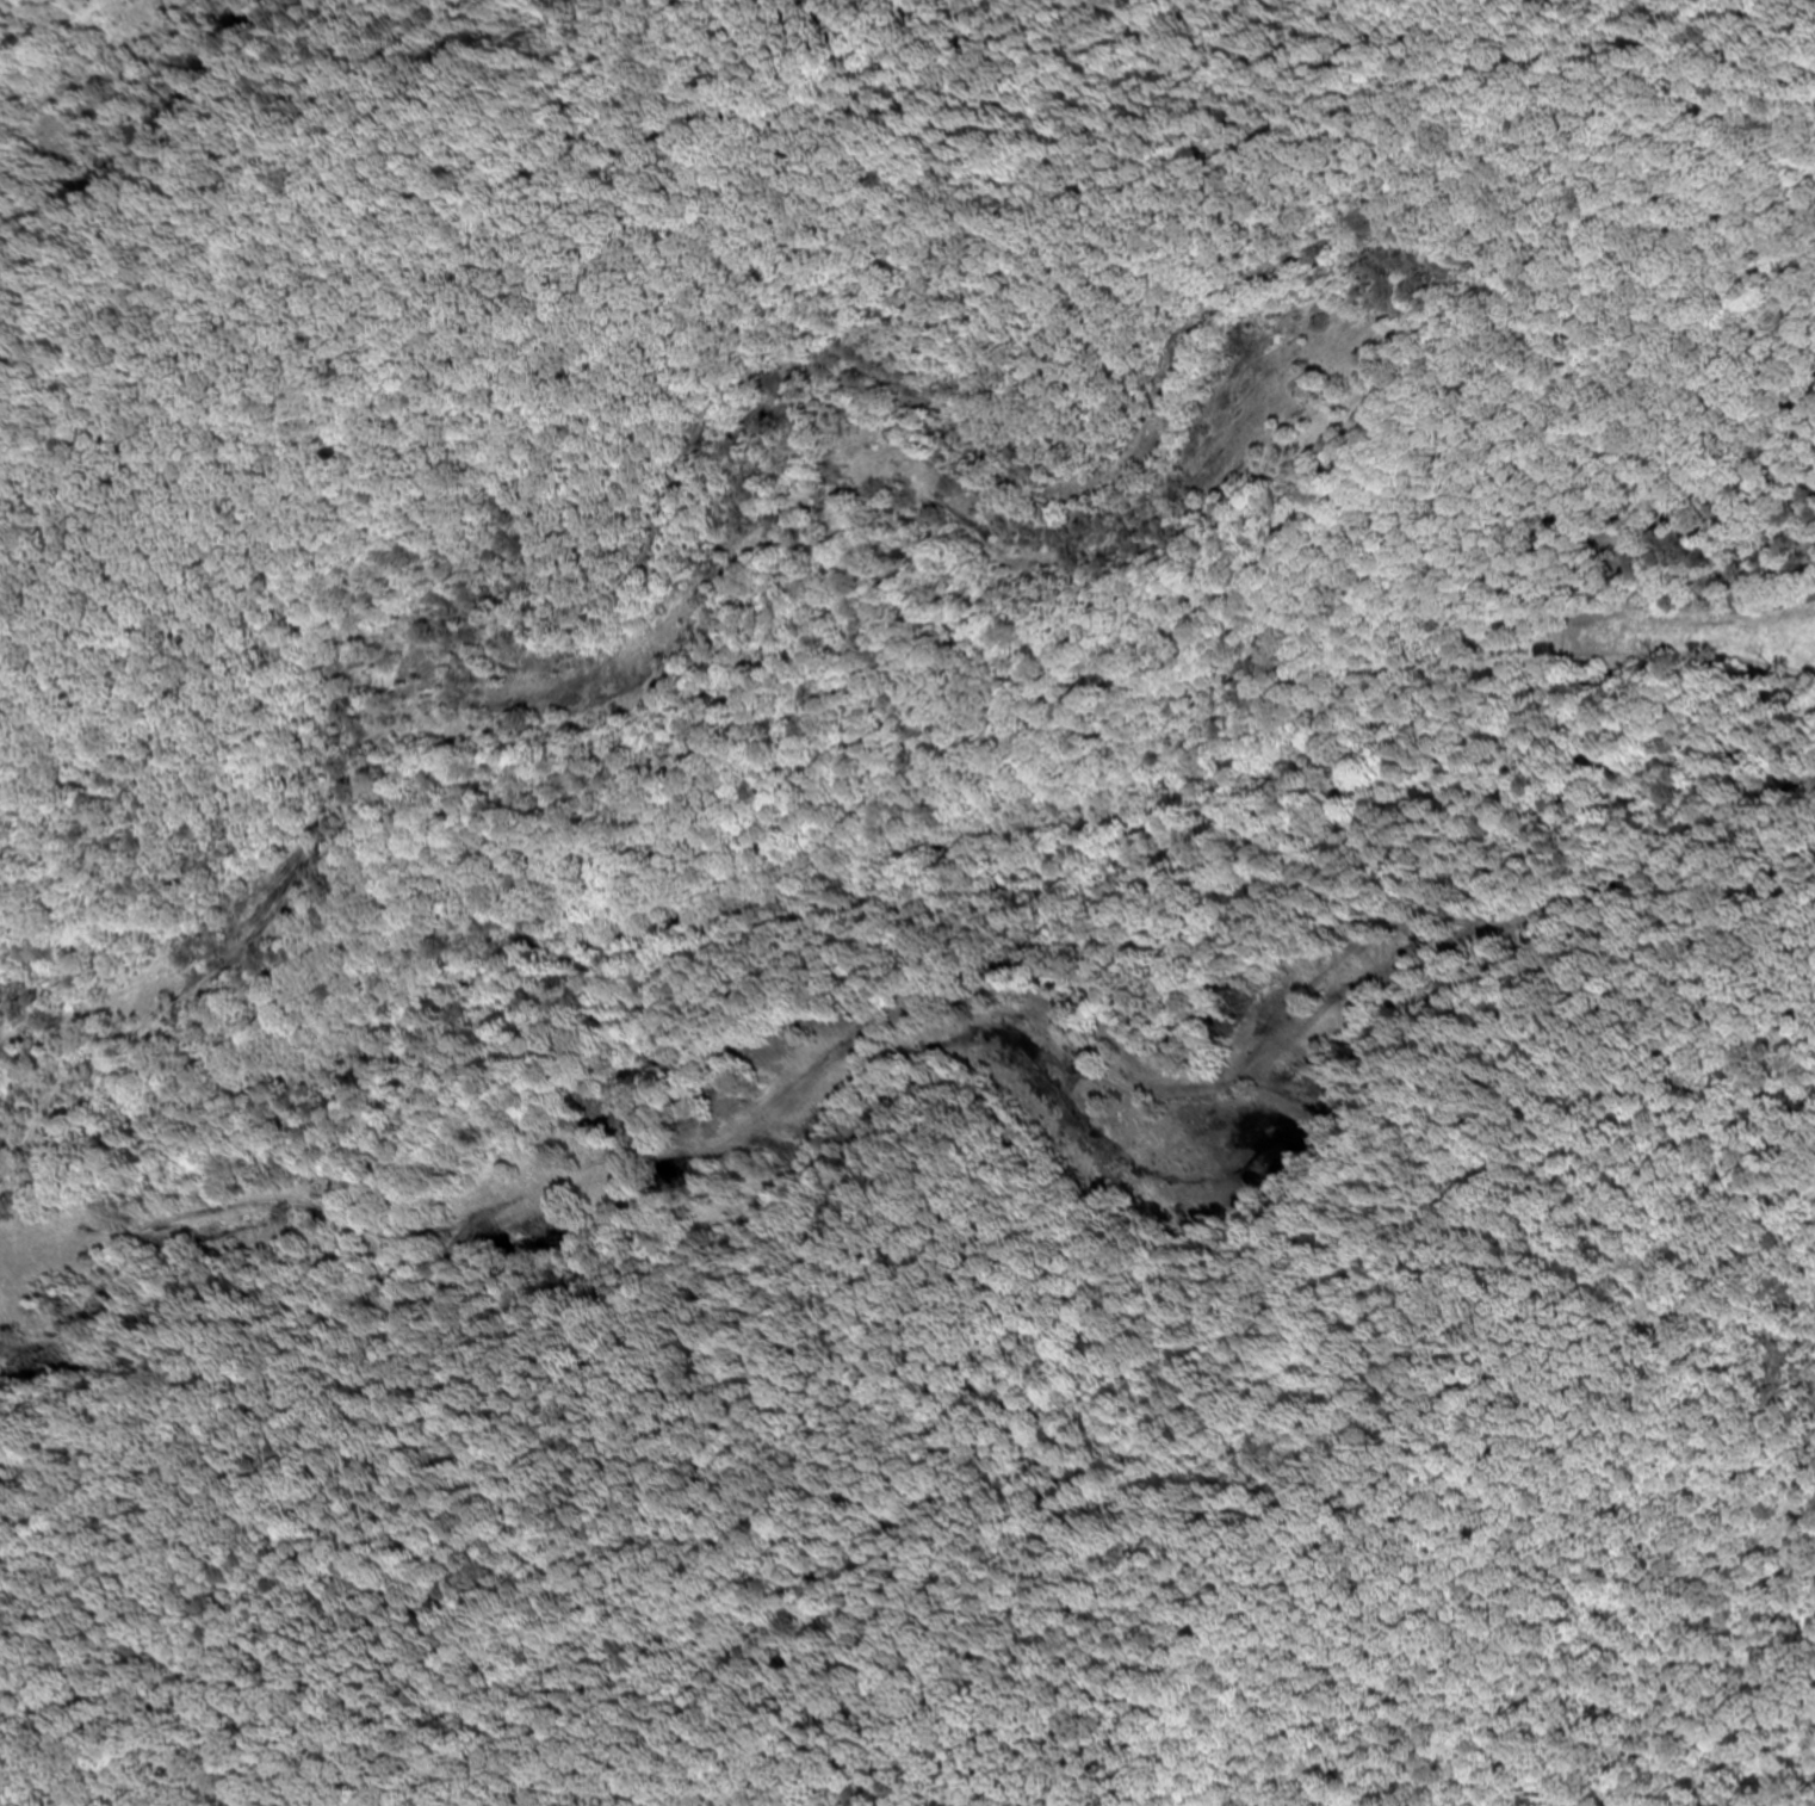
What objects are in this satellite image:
road: (1513, 43)

